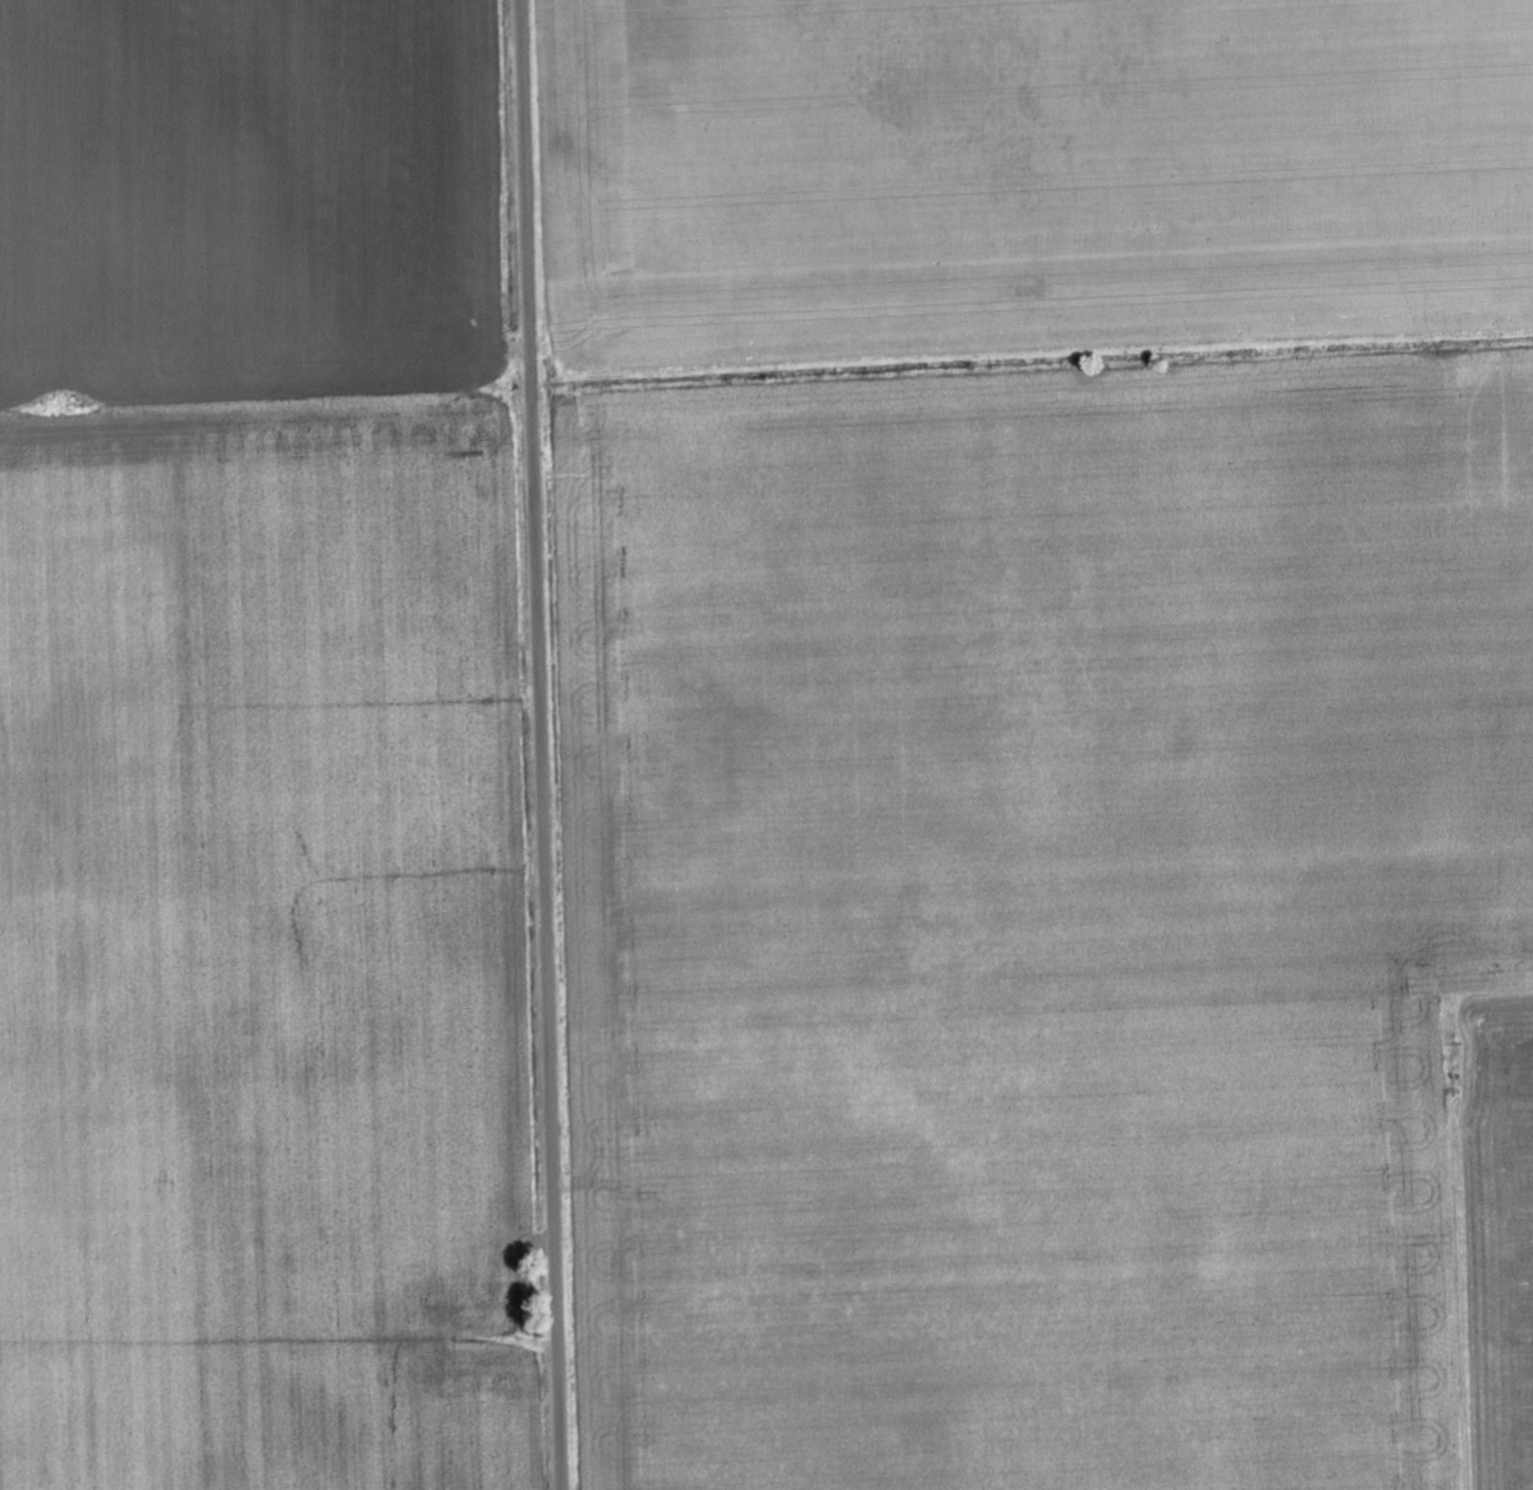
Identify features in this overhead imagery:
road: (537, 744)

